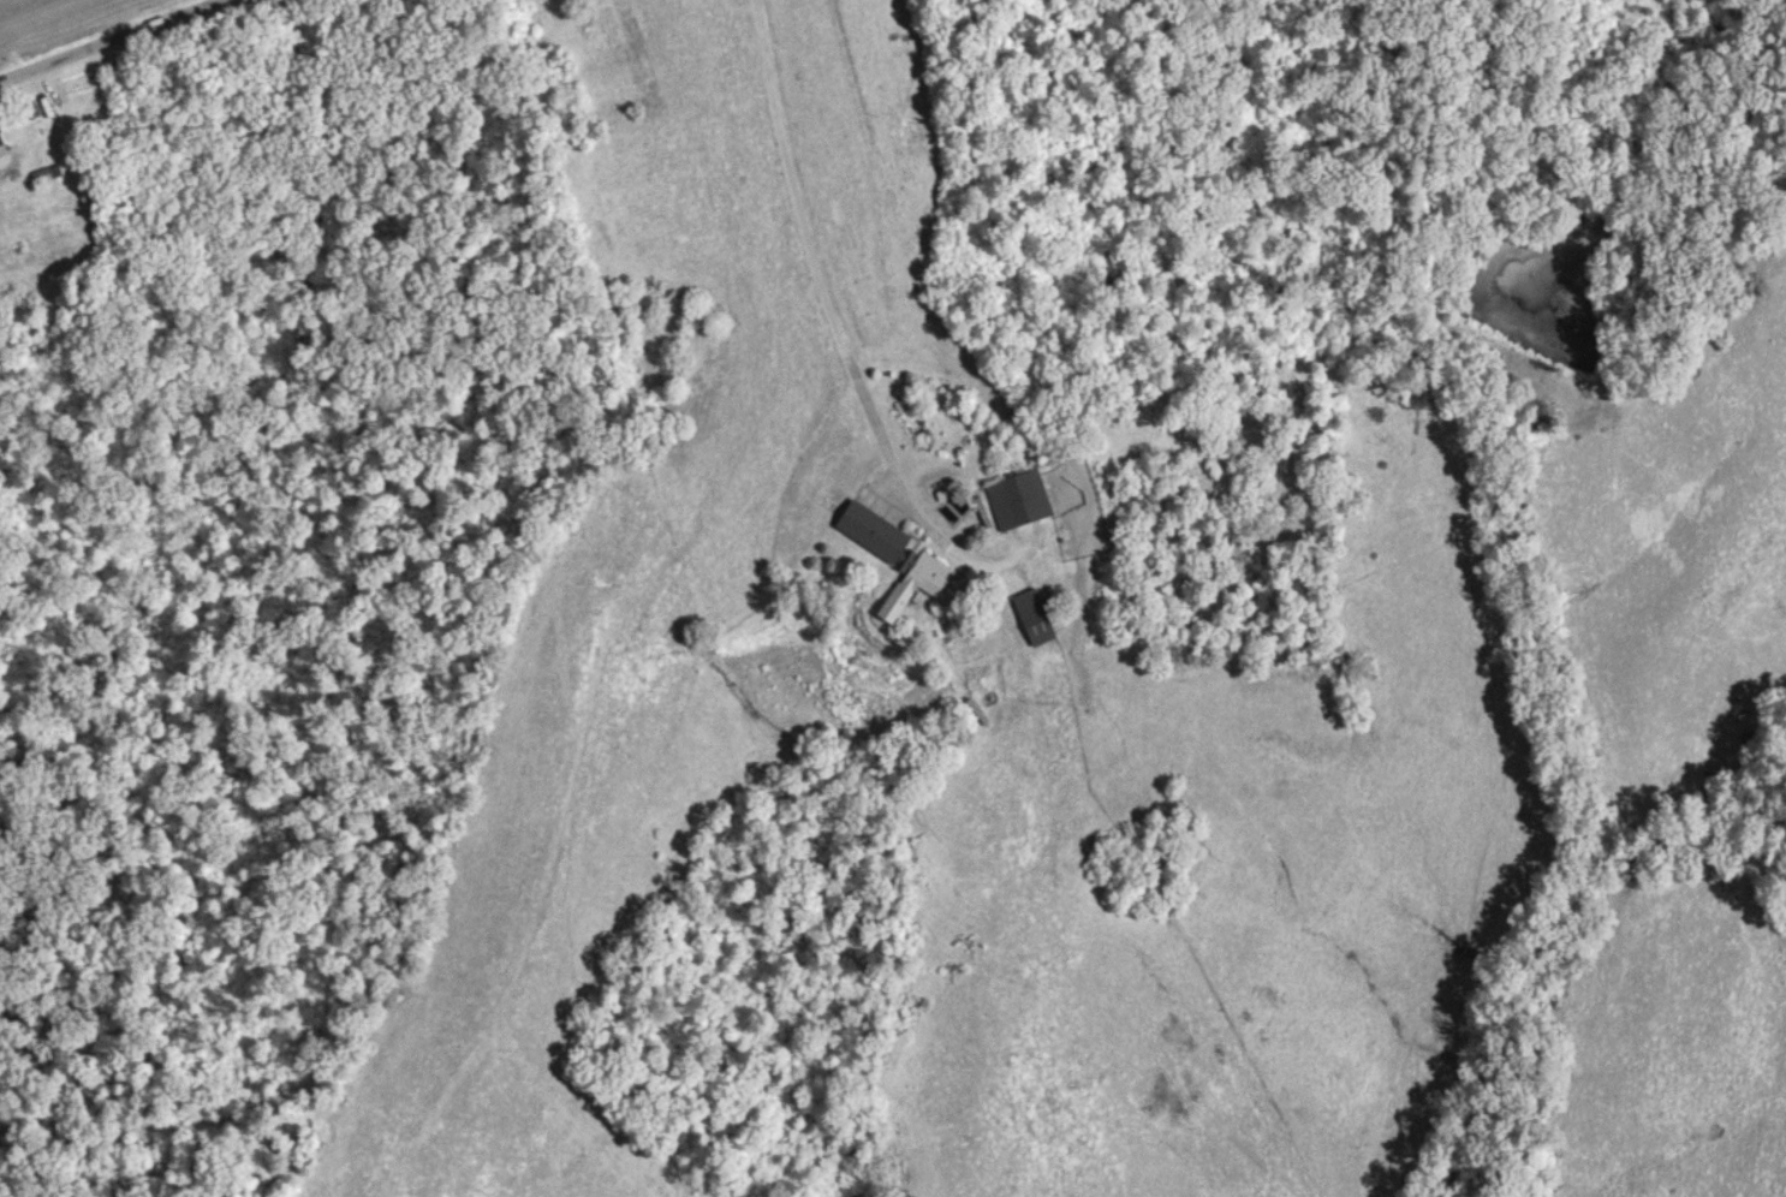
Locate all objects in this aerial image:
road: (106, 36)
building: (29, 106)
building: (1, 138)
building: (55, 167)
building: (42, 173)
road: (815, 256)
building: (1018, 498)
building: (901, 552)
building: (1034, 614)

